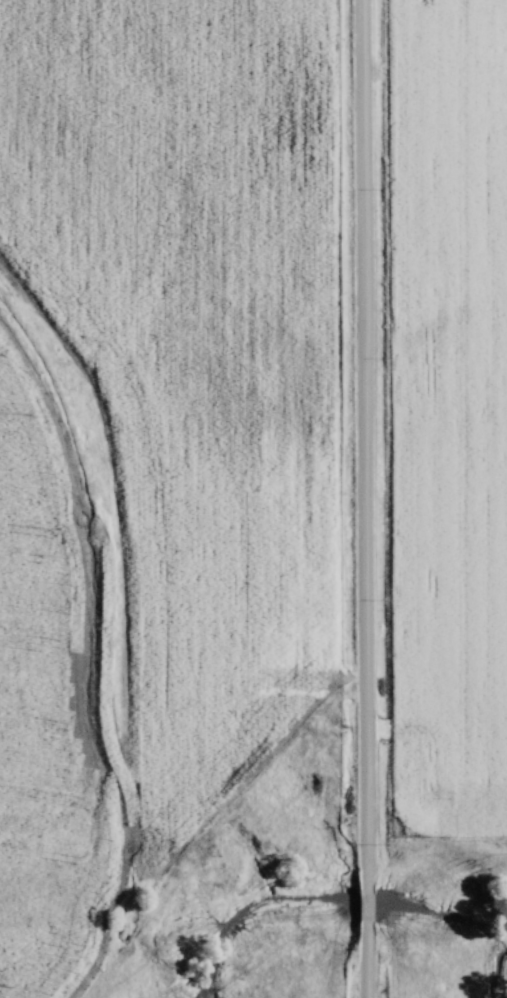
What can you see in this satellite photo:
road: (369, 498)
river: (371, 899)
river: (262, 913)
river: (470, 923)

